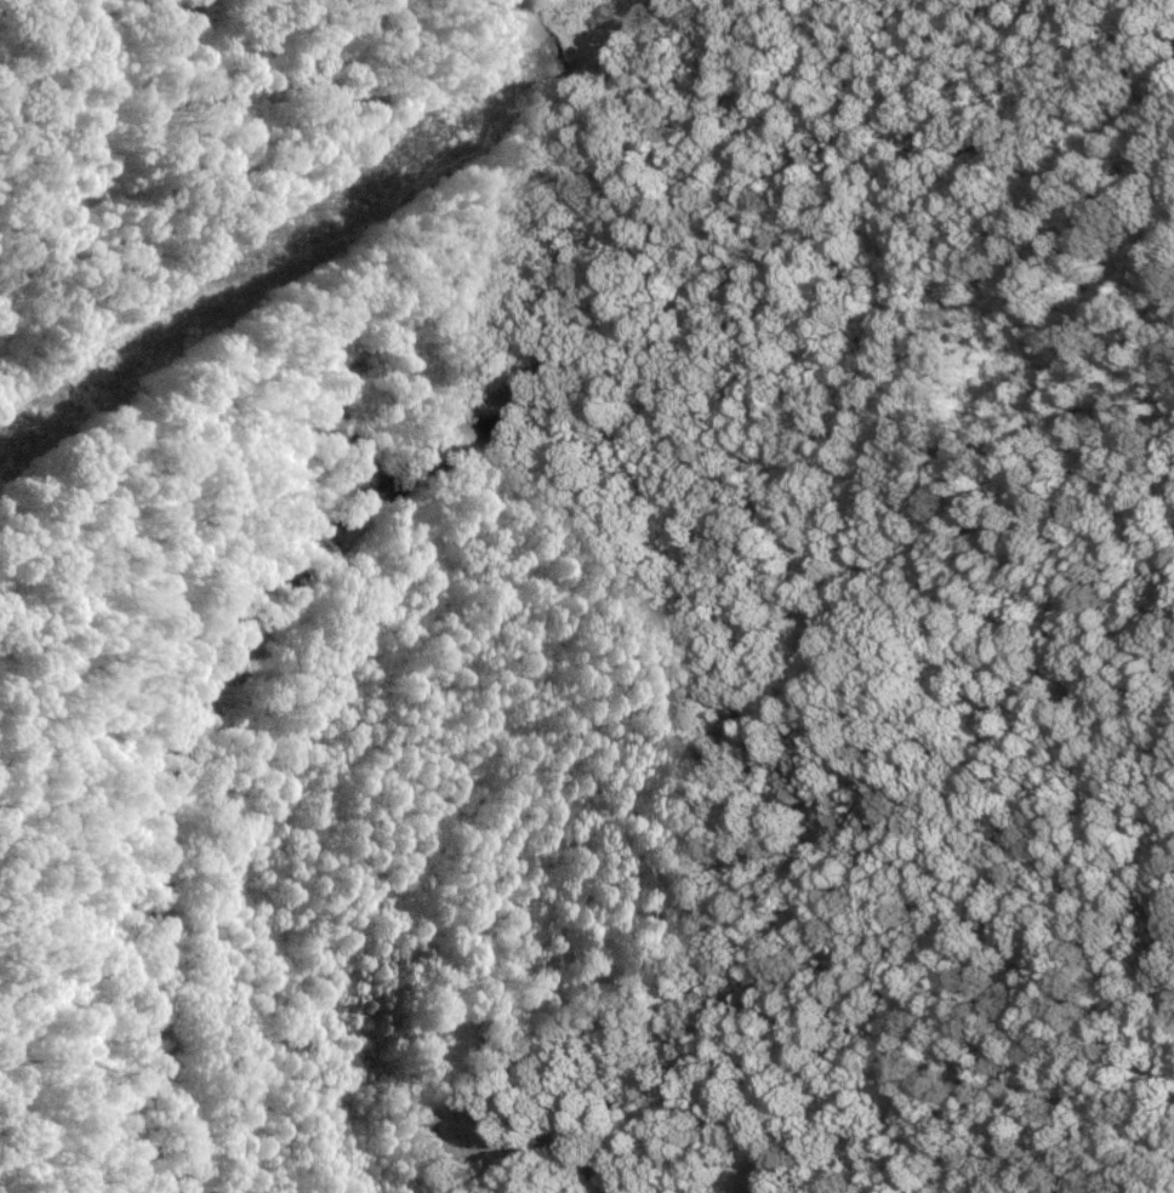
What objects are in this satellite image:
road: (840, 628)

